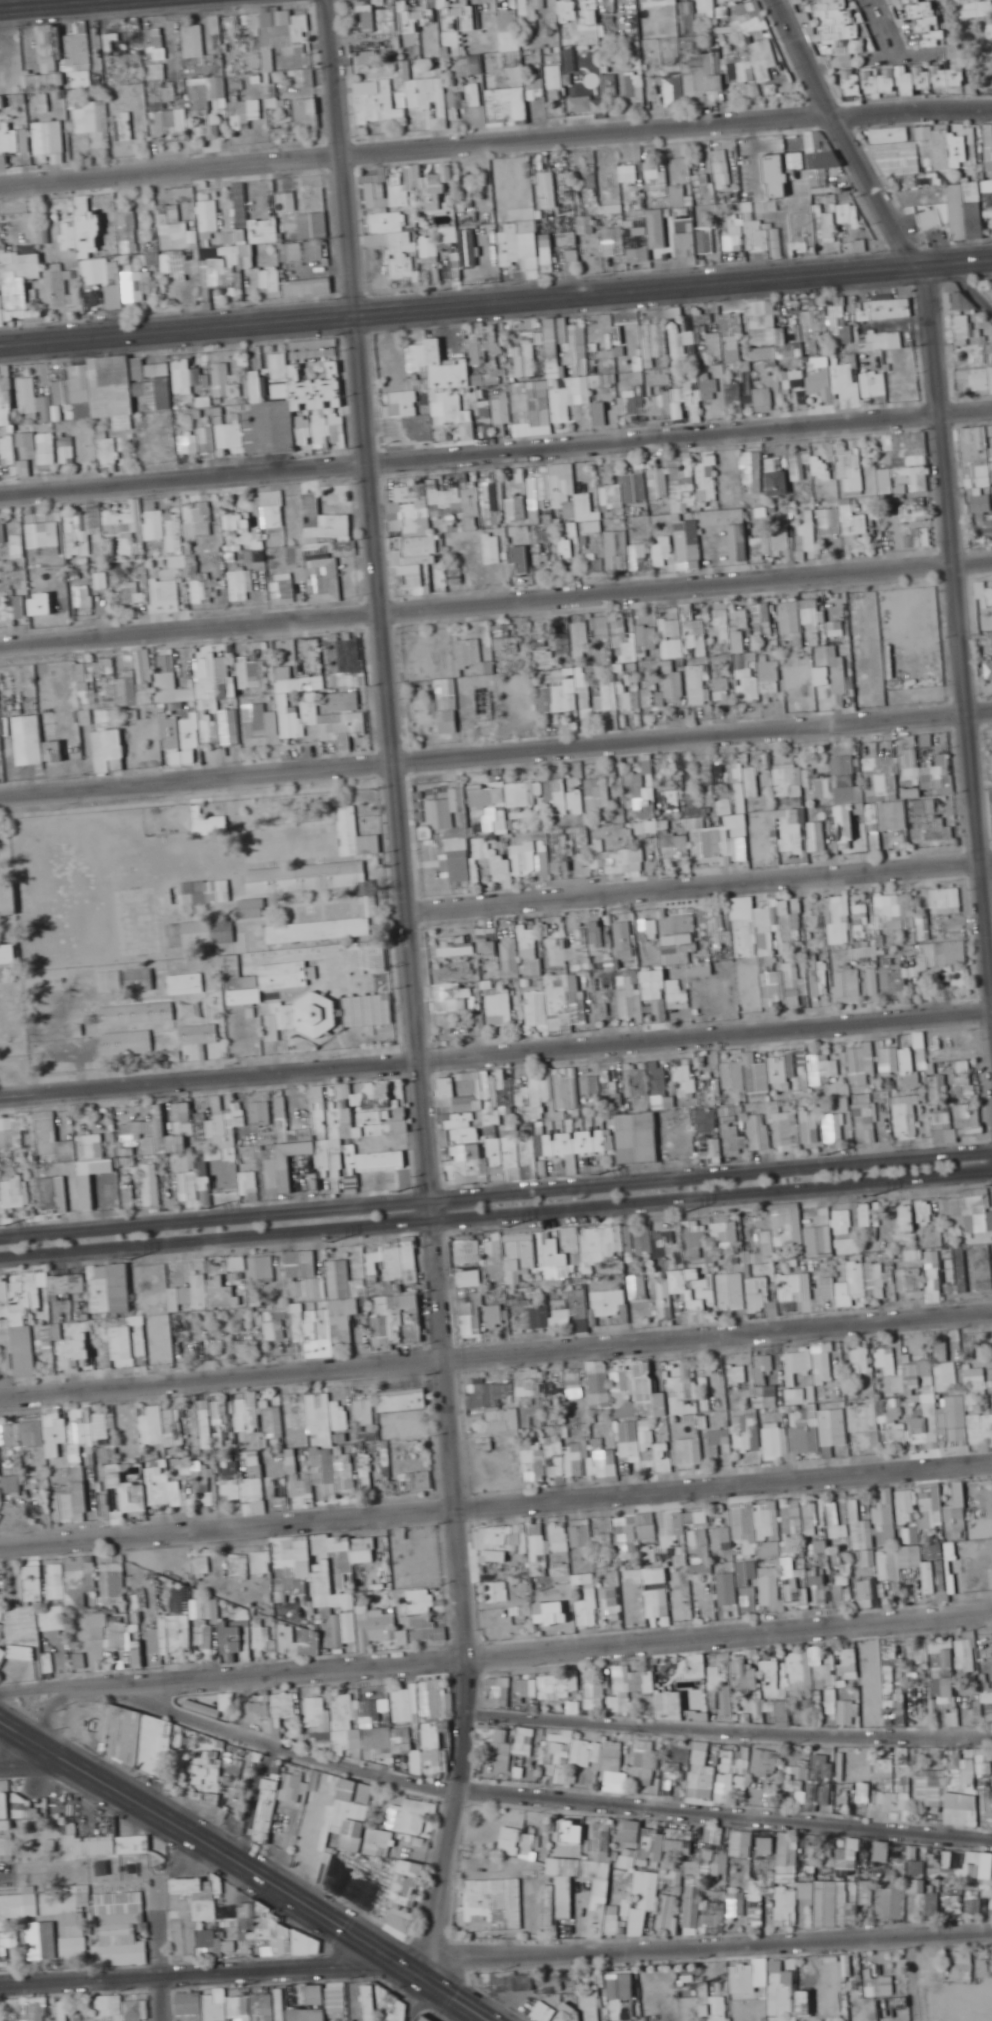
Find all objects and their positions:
road: (130, 0)
building: (911, 1)
building: (655, 3)
building: (706, 3)
road: (38, 4)
road: (70, 6)
building: (974, 9)
building: (413, 15)
building: (380, 19)
building: (590, 22)
road: (883, 28)
building: (990, 29)
building: (193, 41)
road: (899, 56)
building: (365, 57)
building: (47, 71)
building: (908, 76)
building: (555, 77)
building: (305, 78)
building: (707, 83)
building: (535, 89)
building: (398, 99)
building: (581, 105)
building: (244, 114)
building: (305, 114)
building: (160, 123)
road: (846, 133)
building: (45, 137)
building: (9, 140)
road: (495, 141)
building: (632, 173)
building: (679, 183)
building: (401, 196)
building: (969, 205)
building: (209, 216)
building: (655, 226)
building: (127, 230)
building: (264, 230)
building: (567, 239)
building: (307, 240)
building: (611, 240)
building: (637, 240)
building: (686, 244)
building: (509, 245)
building: (547, 253)
road: (957, 262)
building: (57, 286)
road: (969, 286)
building: (134, 287)
building: (308, 288)
building: (115, 296)
road: (460, 304)
building: (885, 309)
building: (843, 335)
building: (882, 341)
building: (554, 345)
building: (684, 347)
building: (715, 348)
building: (988, 353)
building: (764, 354)
building: (449, 373)
building: (186, 376)
building: (221, 379)
building: (821, 384)
building: (874, 384)
building: (582, 386)
building: (111, 389)
building: (280, 391)
building: (28, 395)
building: (734, 396)
building: (402, 403)
building: (561, 405)
building: (629, 405)
building: (5, 408)
building: (295, 411)
building: (502, 411)
building: (486, 419)
building: (419, 428)
building: (213, 438)
road: (496, 451)
building: (977, 466)
building: (798, 467)
building: (821, 468)
building: (884, 477)
building: (544, 480)
building: (855, 487)
building: (778, 489)
building: (652, 491)
building: (708, 493)
building: (612, 496)
building: (684, 498)
building: (580, 507)
building: (402, 510)
building: (198, 519)
building: (233, 521)
building: (124, 522)
building: (154, 525)
building: (325, 525)
building: (730, 530)
building: (175, 533)
building: (688, 540)
building: (774, 542)
building: (663, 547)
building: (493, 549)
building: (614, 551)
building: (418, 558)
building: (184, 560)
building: (519, 560)
building: (596, 562)
building: (984, 595)
building: (166, 596)
building: (128, 598)
road: (495, 599)
building: (13, 609)
building: (688, 612)
building: (722, 614)
road: (958, 621)
building: (602, 626)
building: (641, 636)
building: (501, 637)
building: (674, 638)
building: (733, 641)
building: (545, 658)
building: (471, 659)
building: (145, 666)
building: (837, 668)
building: (209, 669)
building: (673, 681)
building: (171, 682)
building: (88, 683)
building: (697, 685)
building: (722, 691)
building: (619, 696)
building: (557, 698)
building: (656, 700)
building: (344, 701)
building: (447, 706)
building: (341, 724)
building: (35, 742)
building: (181, 743)
road: (495, 750)
road: (699, 881)
road: (414, 986)
road: (496, 1052)
road: (495, 1196)
road: (713, 1198)
road: (400, 1226)
road: (183, 1245)
road: (495, 1353)
road: (495, 1502)
road: (250, 1866)
road: (232, 1877)

